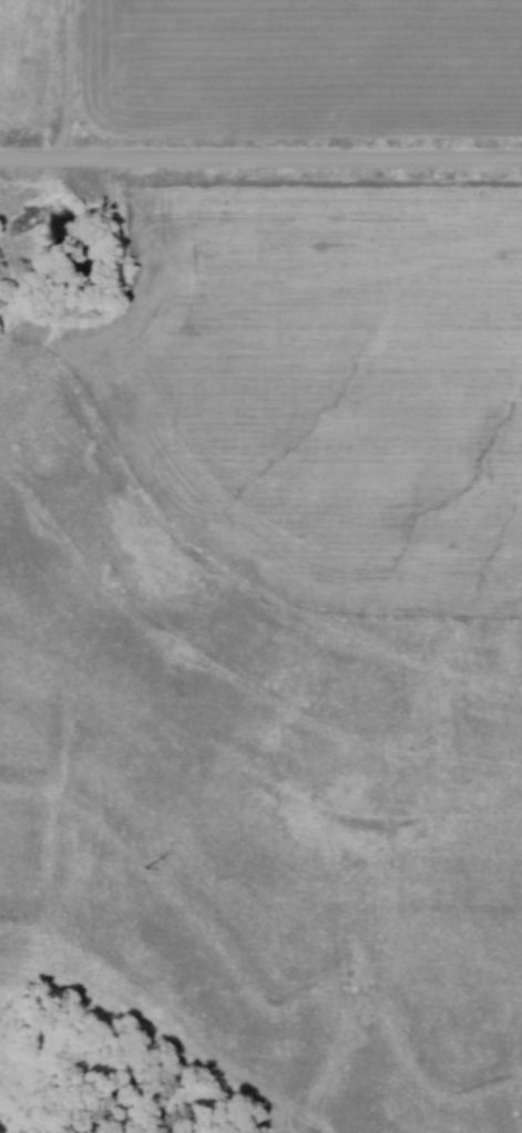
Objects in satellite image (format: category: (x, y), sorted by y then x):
road: (260, 153)
crop: (330, 391)
crop: (289, 1130)

